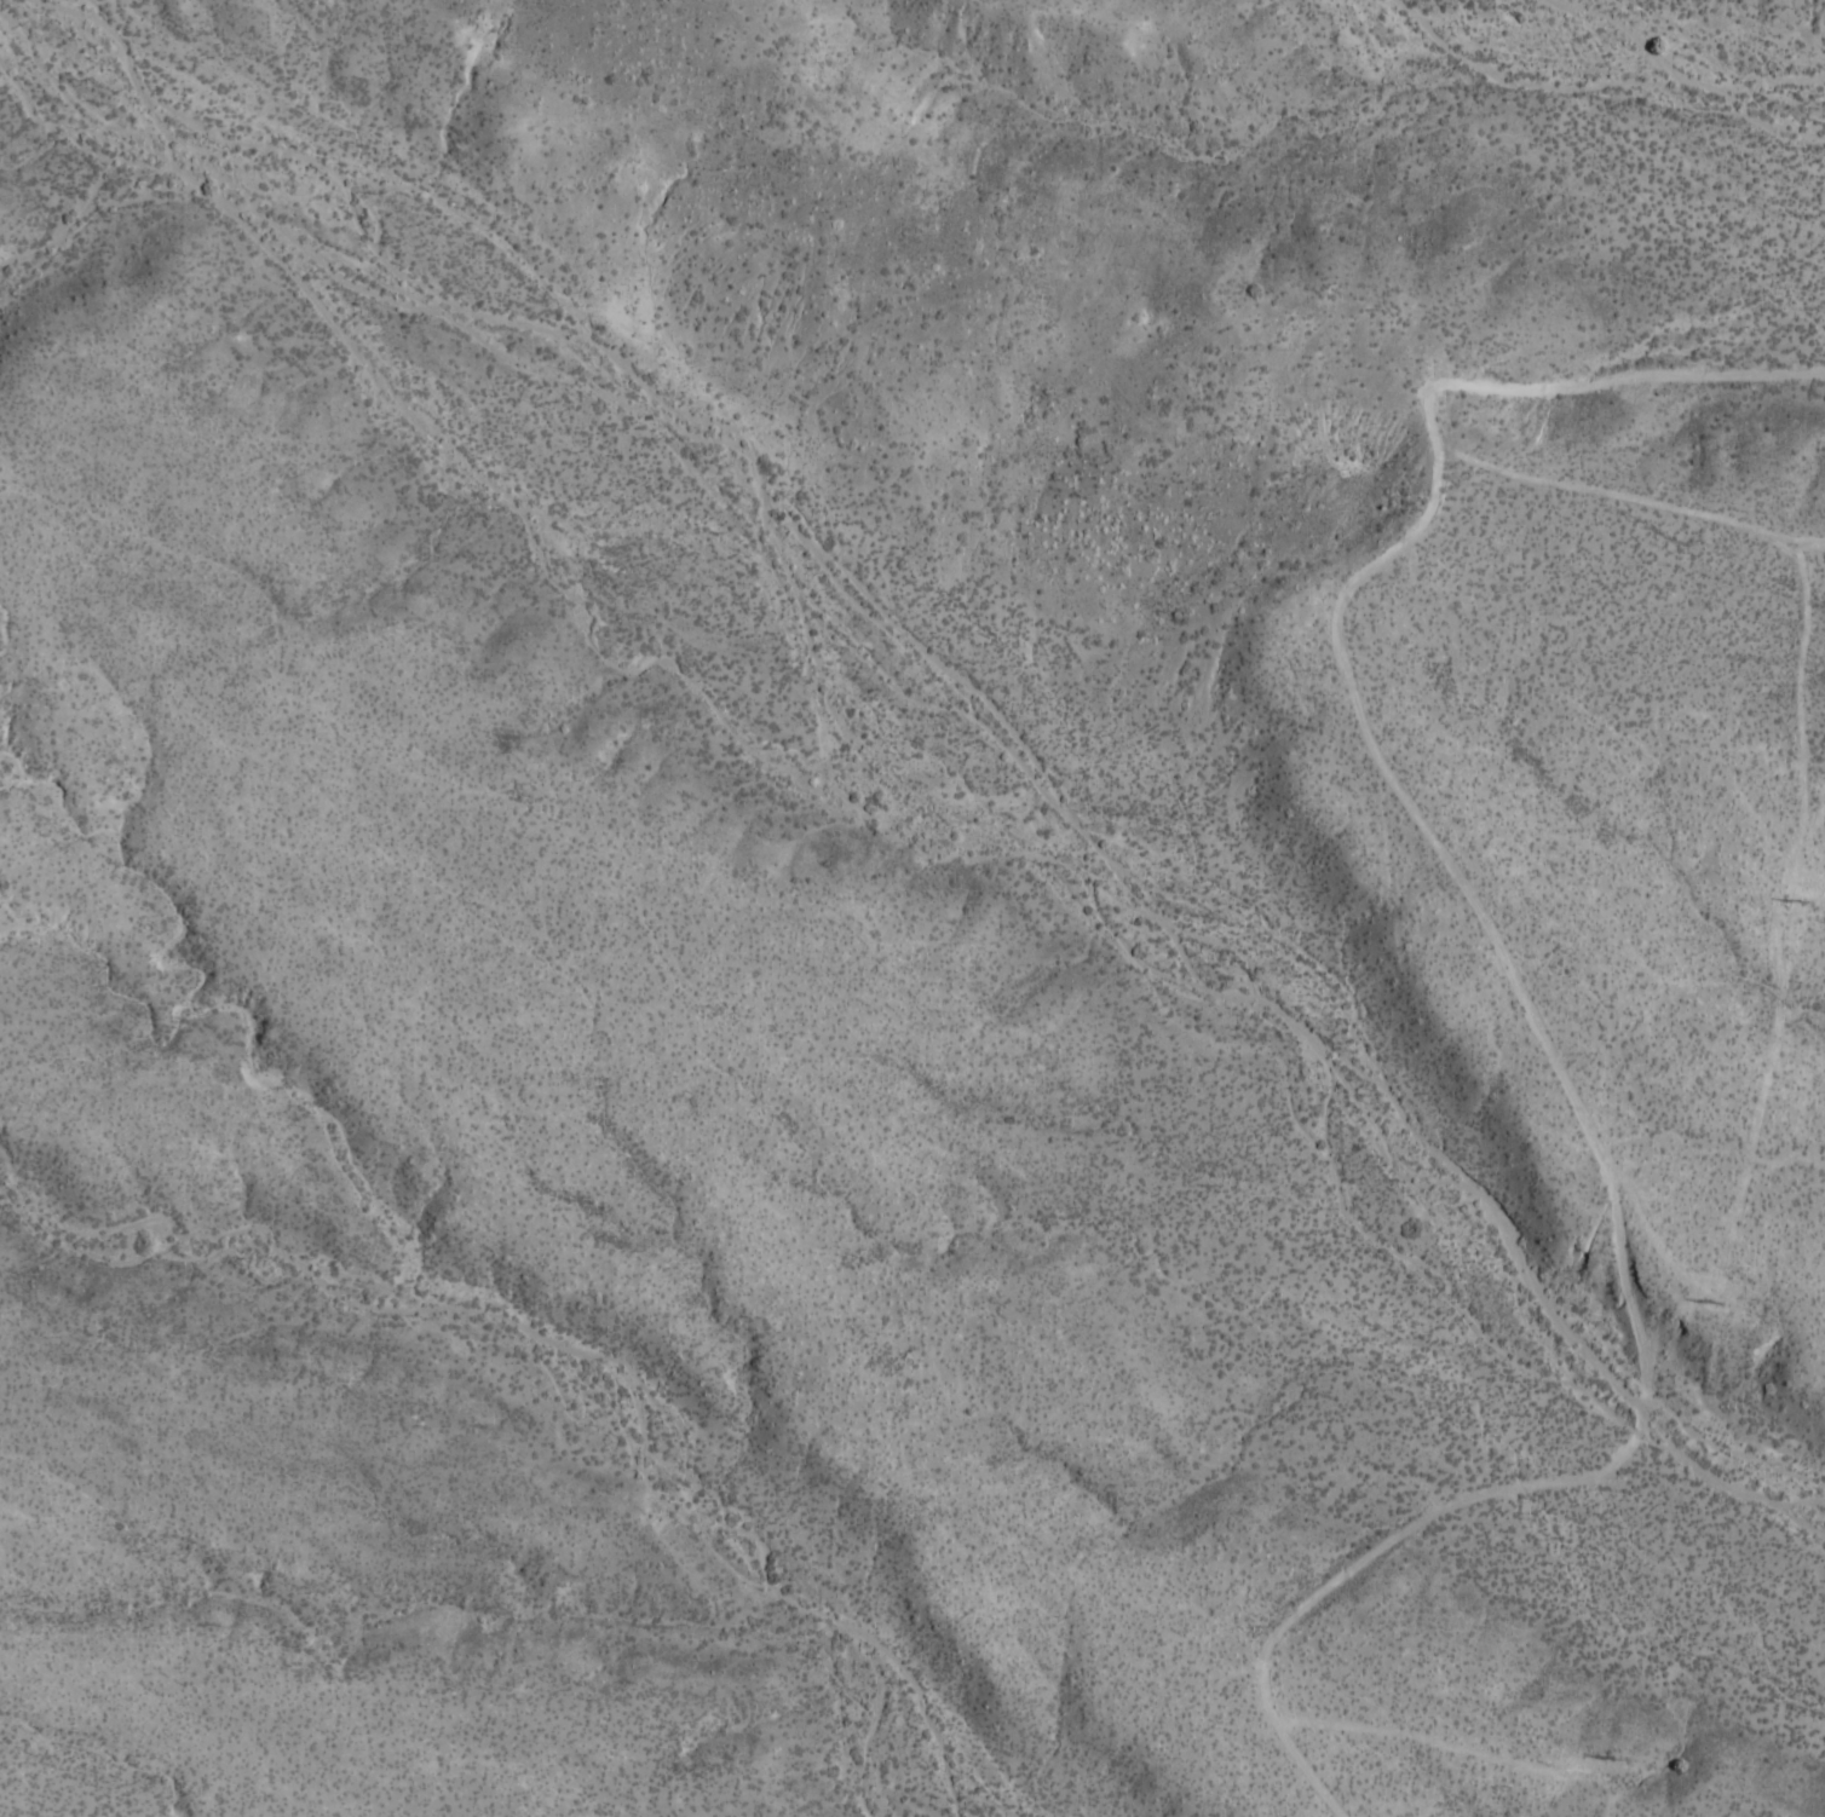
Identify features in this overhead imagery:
road: (1594, 381)
road: (1612, 496)
road: (1809, 546)
road: (1796, 682)
road: (1388, 779)
road: (1815, 803)
road: (1744, 1160)
road: (1554, 1479)
road: (1445, 1747)
road: (1302, 1771)

